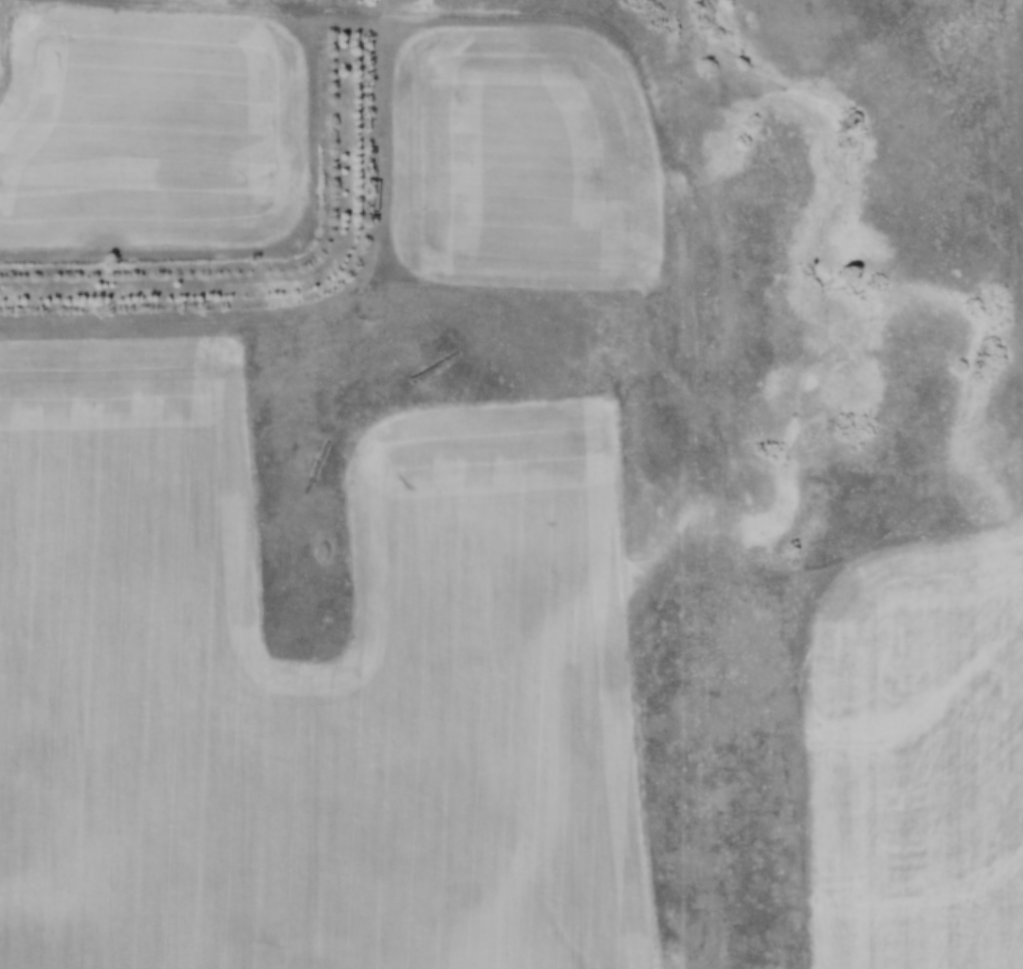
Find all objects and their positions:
road: (728, 316)

